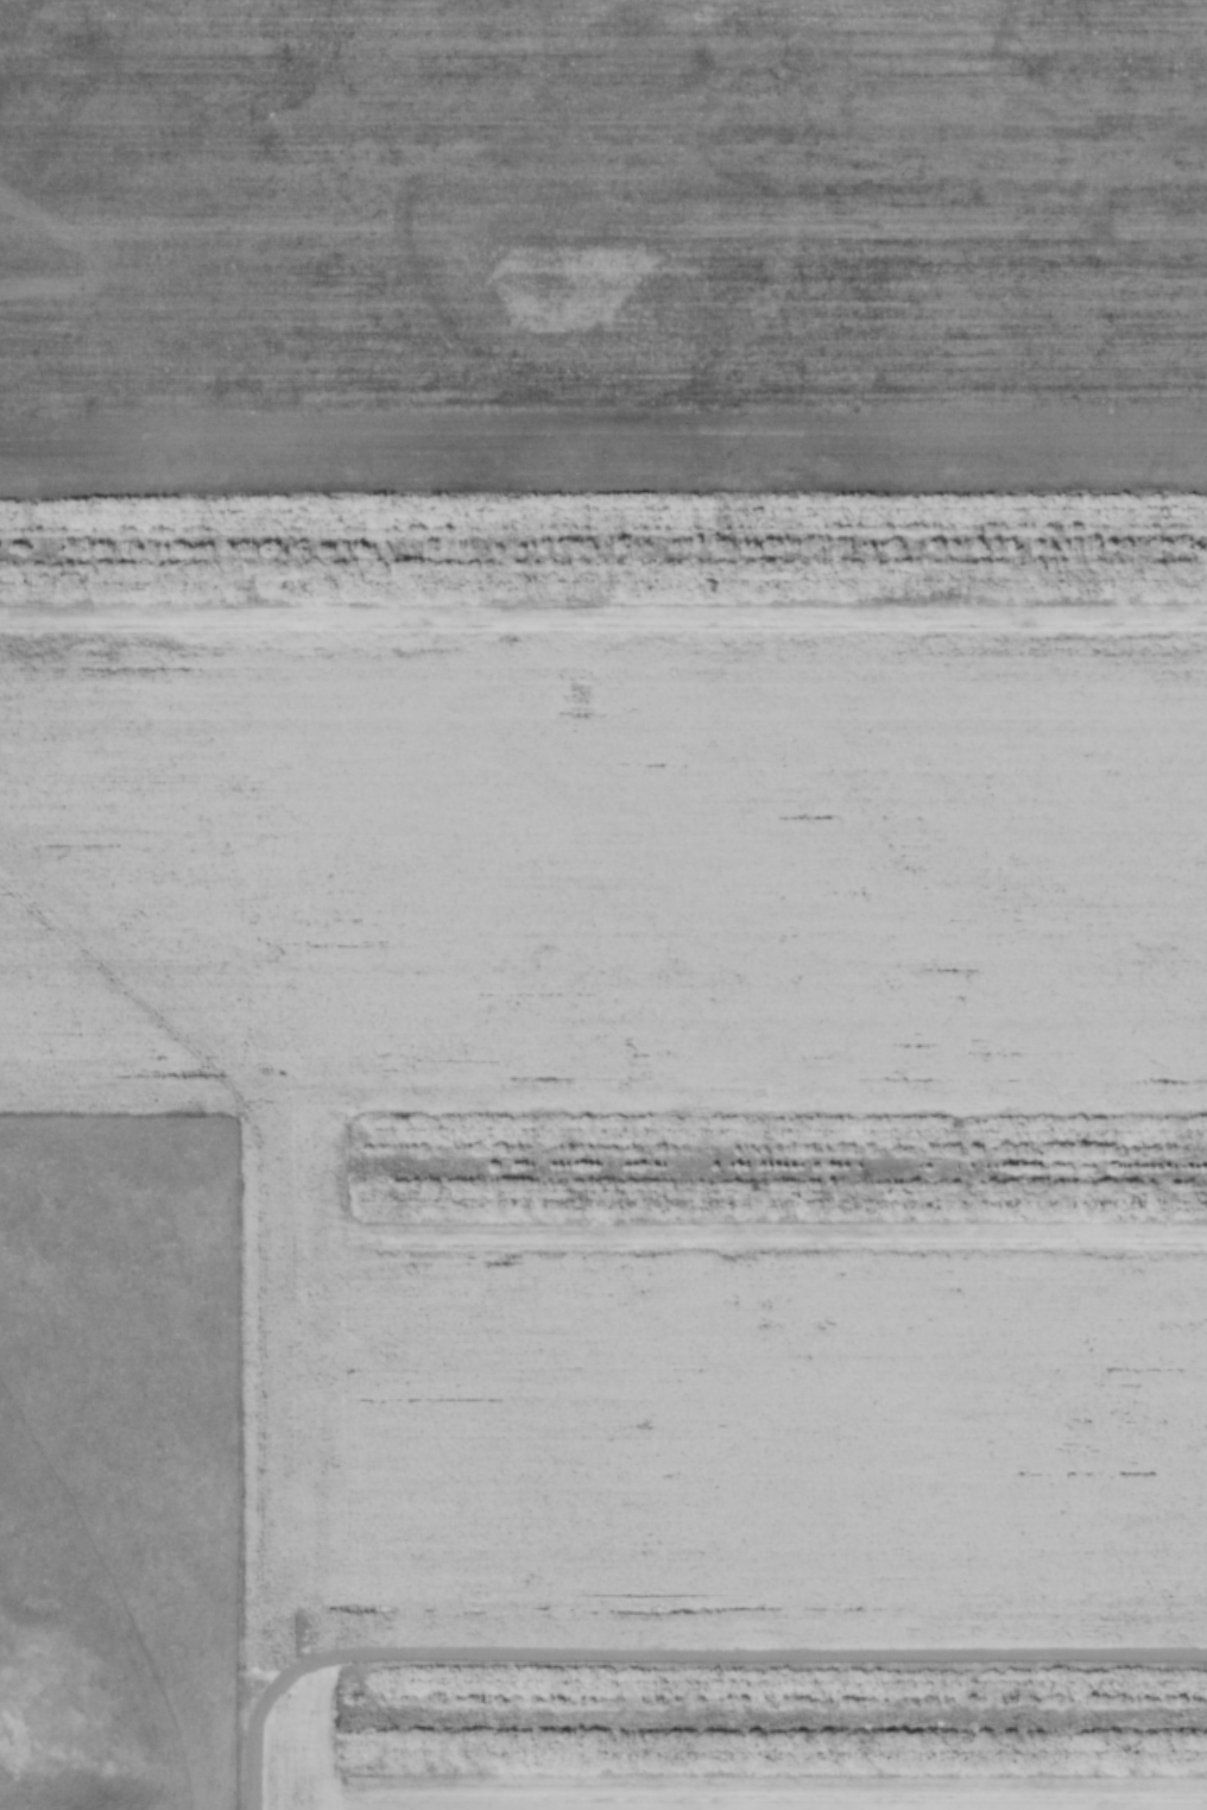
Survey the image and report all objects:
road: (666, 1661)

